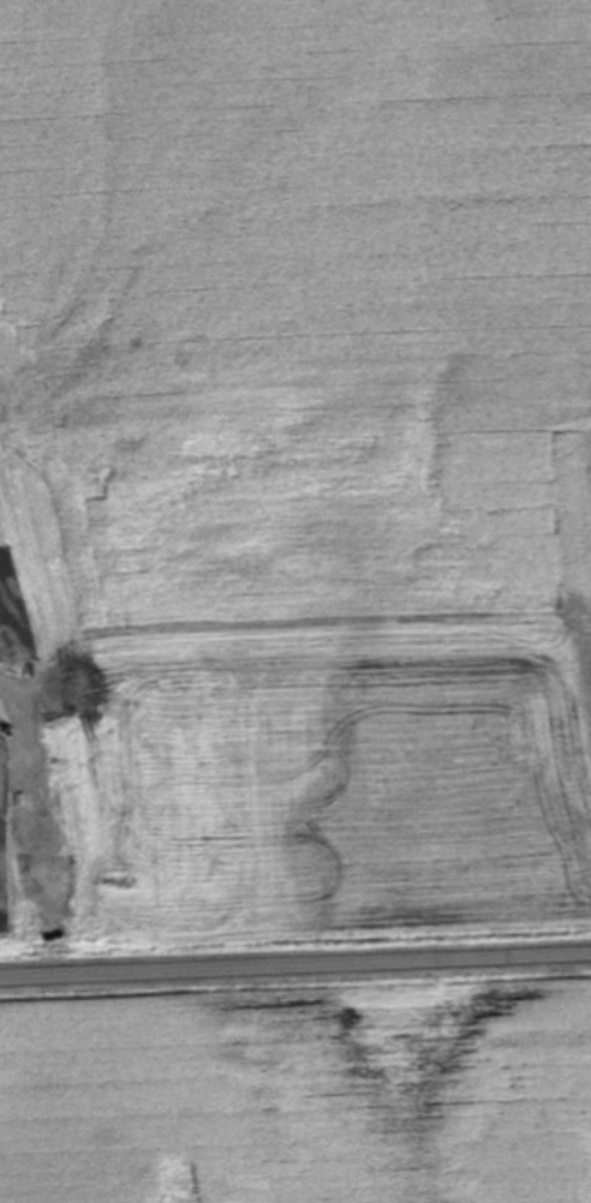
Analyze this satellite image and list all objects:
road: (295, 965)

